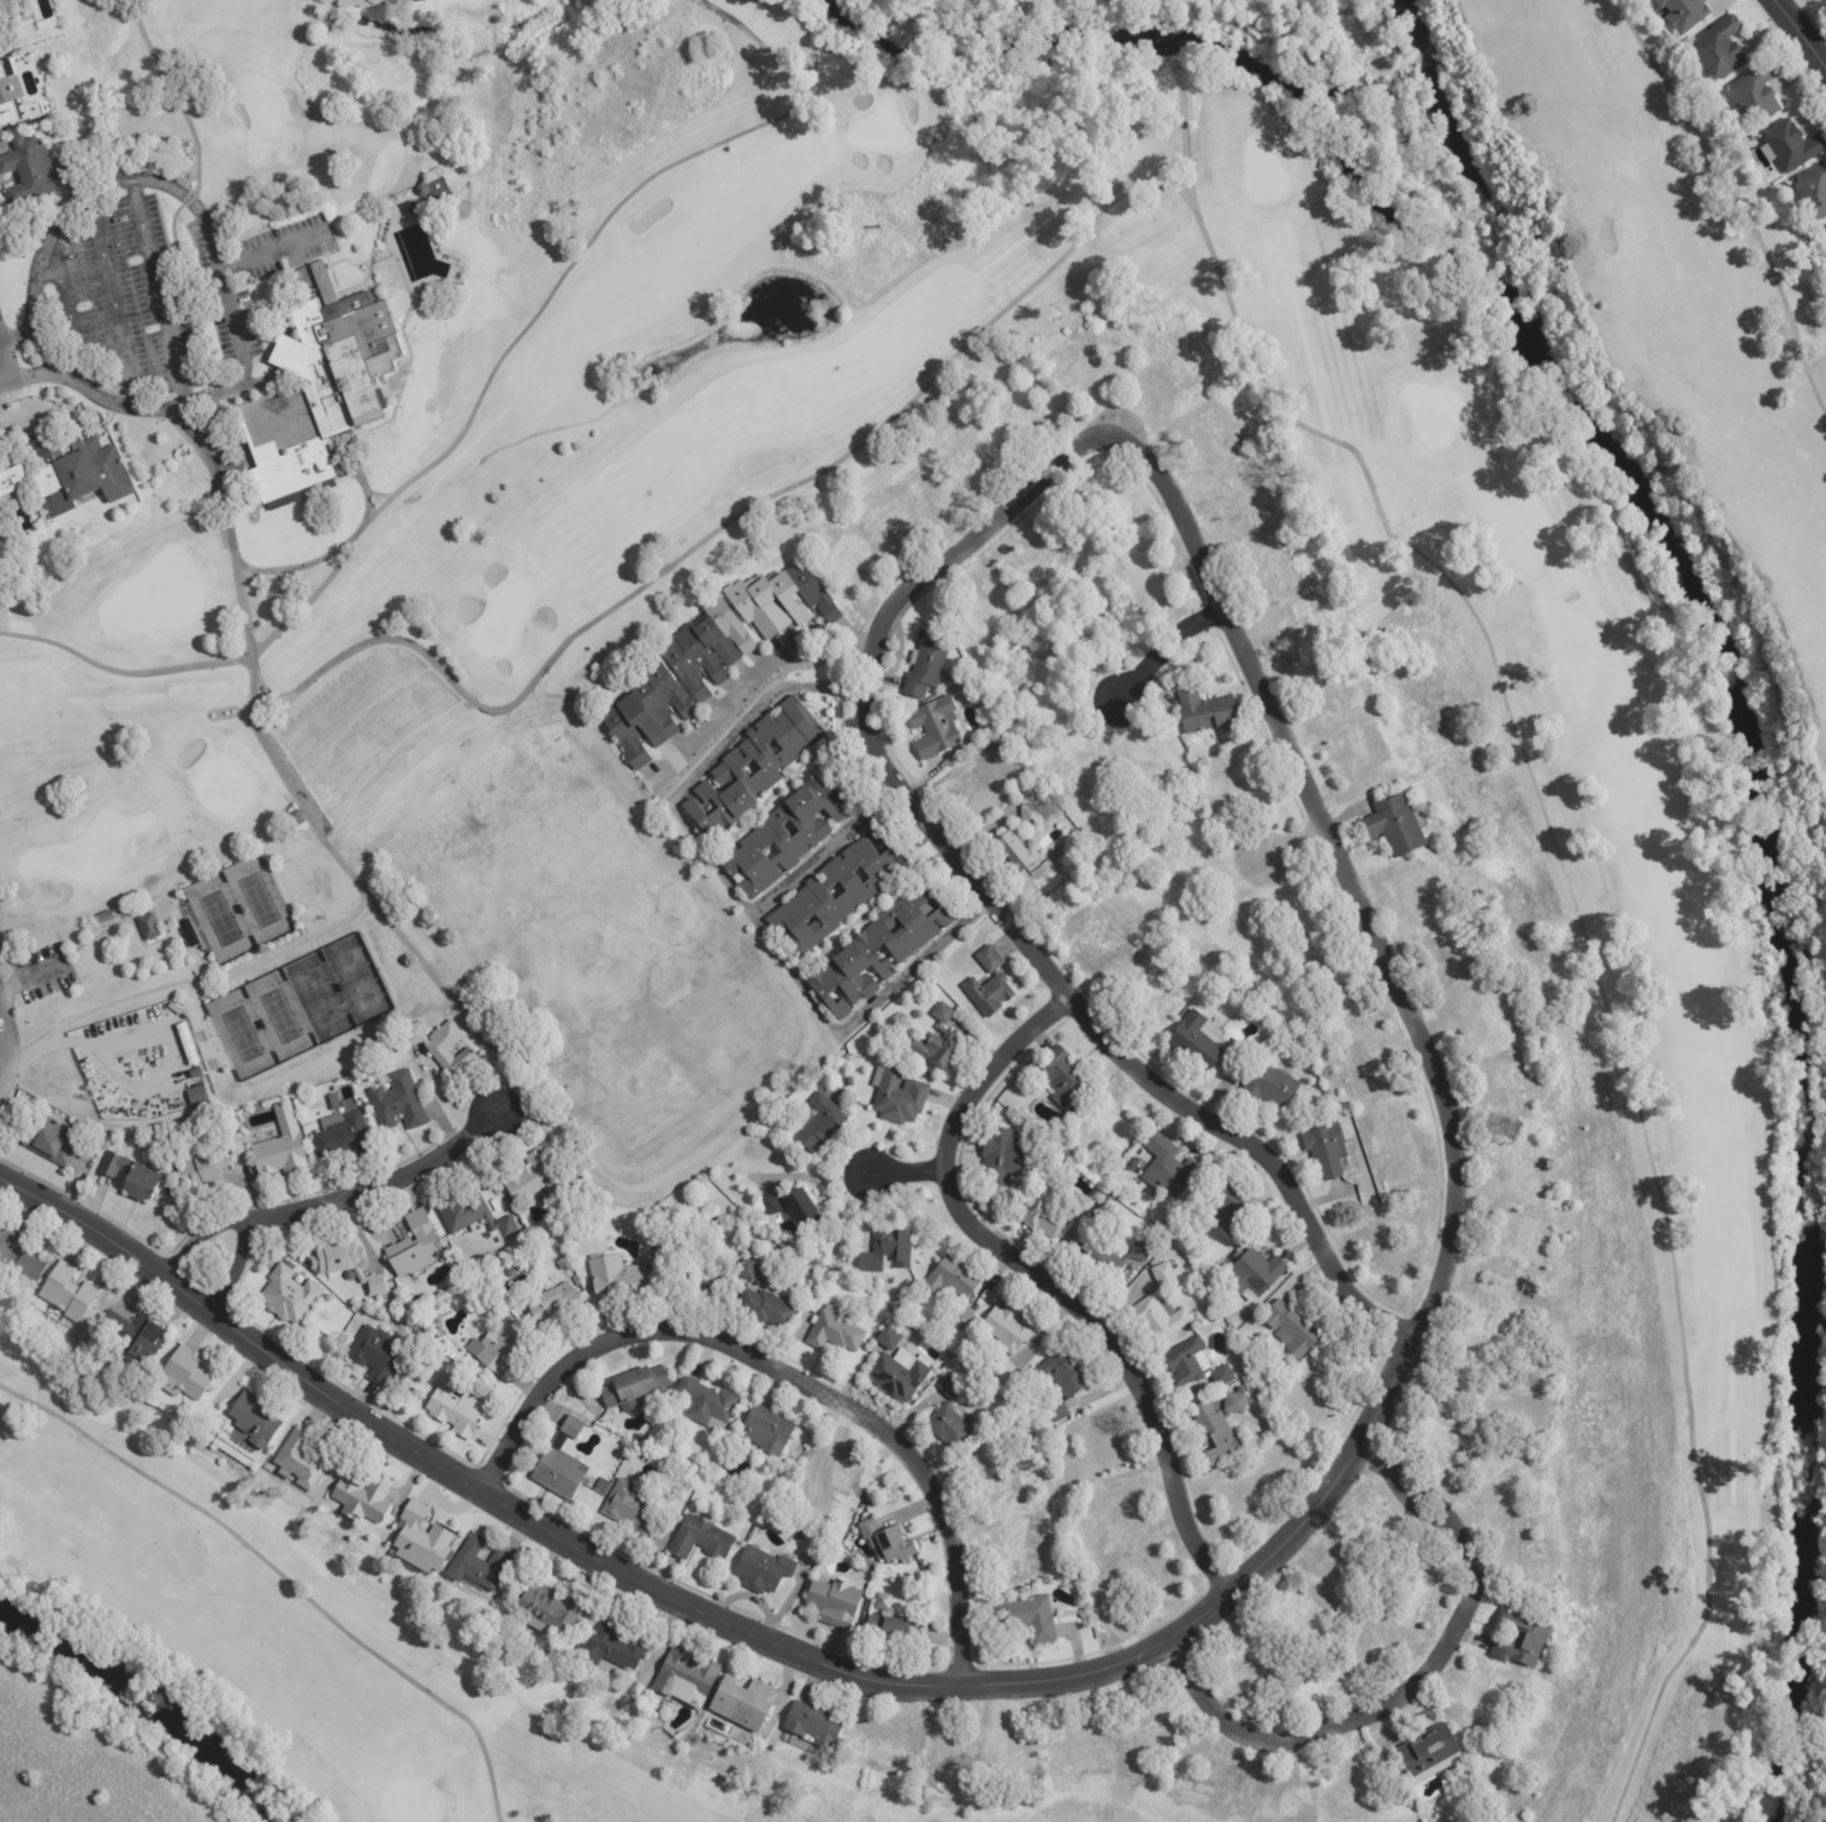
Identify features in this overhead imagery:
building: (402, 2)
building: (2, 4)
building: (358, 4)
building: (1685, 13)
building: (47, 24)
road: (1802, 31)
building: (1721, 51)
building: (1759, 94)
building: (14, 97)
building: (1794, 147)
building: (135, 152)
building: (32, 174)
building: (1814, 190)
building: (1824, 231)
road: (267, 249)
road: (213, 260)
parking lot: (164, 286)
road: (160, 289)
road: (117, 301)
road: (63, 313)
road: (17, 332)
road: (41, 344)
road: (5, 370)
road: (29, 373)
road: (5, 386)
building: (315, 396)
road: (0, 416)
building: (978, 457)
building: (60, 483)
building: (1113, 503)
building: (885, 524)
building: (846, 560)
building: (1033, 565)
building: (1146, 580)
building: (782, 601)
building: (986, 607)
building: (1300, 630)
road: (1163, 648)
building: (684, 649)
building: (927, 664)
road: (753, 676)
building: (1042, 690)
building: (1339, 698)
building: (648, 712)
building: (1207, 712)
building: (936, 728)
building: (983, 746)
building: (1359, 750)
building: (727, 771)
building: (1077, 776)
road: (287, 783)
building: (979, 788)
building: (1234, 789)
building: (296, 819)
building: (1397, 826)
building: (813, 829)
building: (1010, 839)
park: (337, 844)
road: (1292, 844)
road: (823, 849)
building: (1191, 854)
building: (862, 889)
building: (1056, 896)
road: (990, 898)
building: (1419, 898)
road: (742, 901)
building: (105, 918)
building: (1304, 926)
building: (148, 927)
building: (188, 933)
building: (1232, 934)
building: (1095, 942)
building: (903, 950)
building: (989, 984)
building: (1342, 992)
building: (1151, 995)
building: (1483, 1026)
building: (938, 1043)
building: (1196, 1043)
road: (7, 1045)
building: (441, 1046)
road: (2, 1060)
building: (1366, 1067)
building: (1061, 1078)
building: (850, 1082)
building: (1269, 1087)
building: (1507, 1093)
building: (197, 1094)
building: (899, 1097)
building: (398, 1103)
building: (822, 1122)
building: (1107, 1126)
building: (1392, 1134)
building: (344, 1138)
building: (48, 1144)
building: (281, 1147)
building: (1326, 1150)
building: (1000, 1157)
building: (1168, 1168)
building: (203, 1171)
road: (905, 1173)
building: (1514, 1174)
building: (134, 1177)
building: (535, 1180)
road: (336, 1199)
building: (1084, 1207)
building: (793, 1209)
building: (1229, 1209)
building: (1045, 1217)
building: (474, 1218)
building: (415, 1247)
building: (888, 1252)
building: (1389, 1254)
building: (1105, 1257)
building: (19, 1262)
building: (562, 1264)
building: (346, 1265)
building: (747, 1270)
building: (1255, 1276)
building: (617, 1278)
road: (1042, 1280)
building: (699, 1281)
building: (576, 1282)
building: (954, 1289)
building: (67, 1295)
building: (289, 1295)
building: (553, 1304)
building: (1161, 1308)
building: (767, 1310)
building: (1493, 1317)
building: (1294, 1329)
building: (835, 1333)
building: (439, 1334)
building: (135, 1339)
building: (1008, 1339)
building: (498, 1348)
building: (377, 1355)
building: (452, 1357)
building: (1196, 1365)
building: (185, 1376)
road: (787, 1376)
building: (897, 1376)
building: (1062, 1382)
building: (1458, 1385)
building: (634, 1388)
building: (1243, 1391)
building: (1309, 1394)
building: (707, 1406)
building: (455, 1412)
building: (951, 1417)
building: (254, 1422)
building: (1221, 1429)
building: (769, 1431)
building: (1441, 1442)
building: (1097, 1453)
building: (301, 1462)
building: (563, 1462)
building: (829, 1471)
building: (1499, 1483)
building: (994, 1484)
building: (601, 1488)
building: (1244, 1495)
building: (860, 1496)
building: (363, 1500)
building: (630, 1508)
building: (765, 1513)
building: (1121, 1515)
building: (1025, 1520)
building: (701, 1541)
building: (421, 1543)
building: (888, 1544)
building: (1013, 1557)
building: (479, 1566)
building: (1535, 1566)
building: (1146, 1571)
building: (764, 1572)
building: (1335, 1579)
building: (868, 1585)
building: (1419, 1596)
building: (883, 1603)
building: (835, 1604)
building: (547, 1610)
building: (1290, 1612)
road: (1196, 1616)
building: (1028, 1620)
building: (888, 1631)
park: (296, 1633)
building: (1522, 1639)
building: (1370, 1645)
building: (609, 1648)
building: (1235, 1652)
building: (687, 1679)
road: (1412, 1687)
building: (1244, 1690)
building: (1482, 1697)
building: (743, 1705)
building: (814, 1726)
building: (1151, 1732)
building: (881, 1746)
building: (1010, 1752)
building: (948, 1756)
building: (1429, 1756)
building: (1204, 1790)
building: (1281, 1803)

